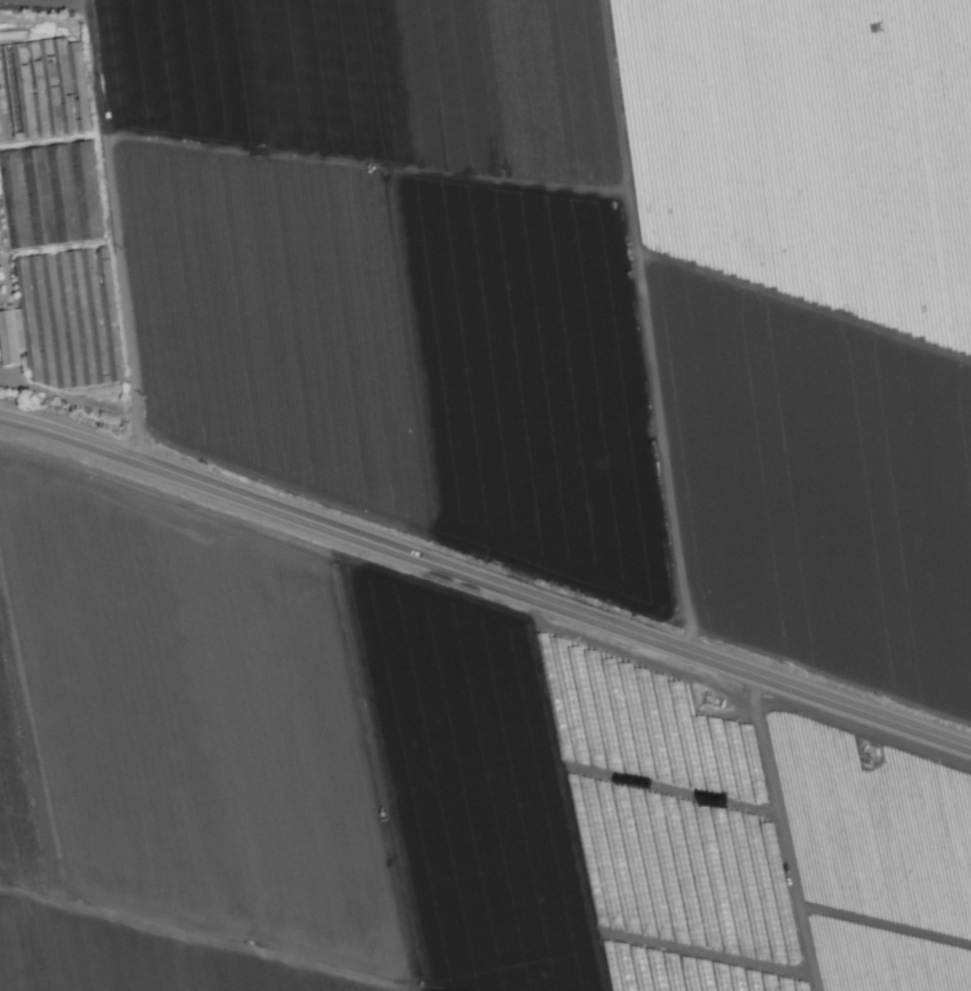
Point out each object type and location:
building: (48, 85)
building: (49, 194)
road: (124, 233)
building: (58, 332)
crop: (485, 495)
road: (381, 570)
road: (485, 580)
road: (390, 727)
road: (784, 831)
road: (407, 888)
road: (70, 975)

